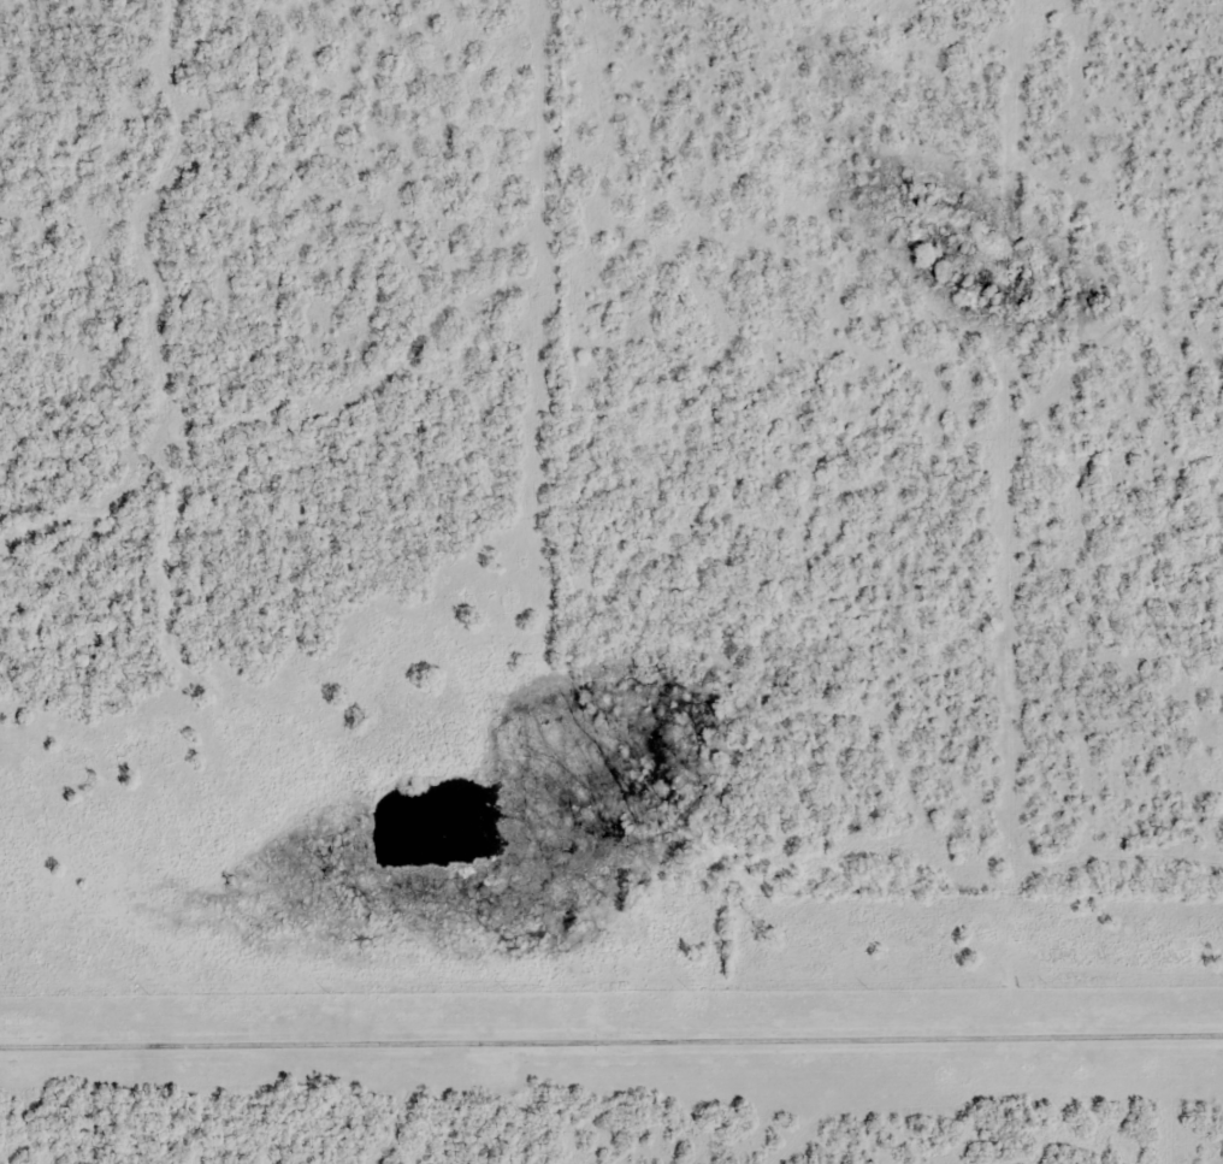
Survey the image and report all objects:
road: (611, 1036)

